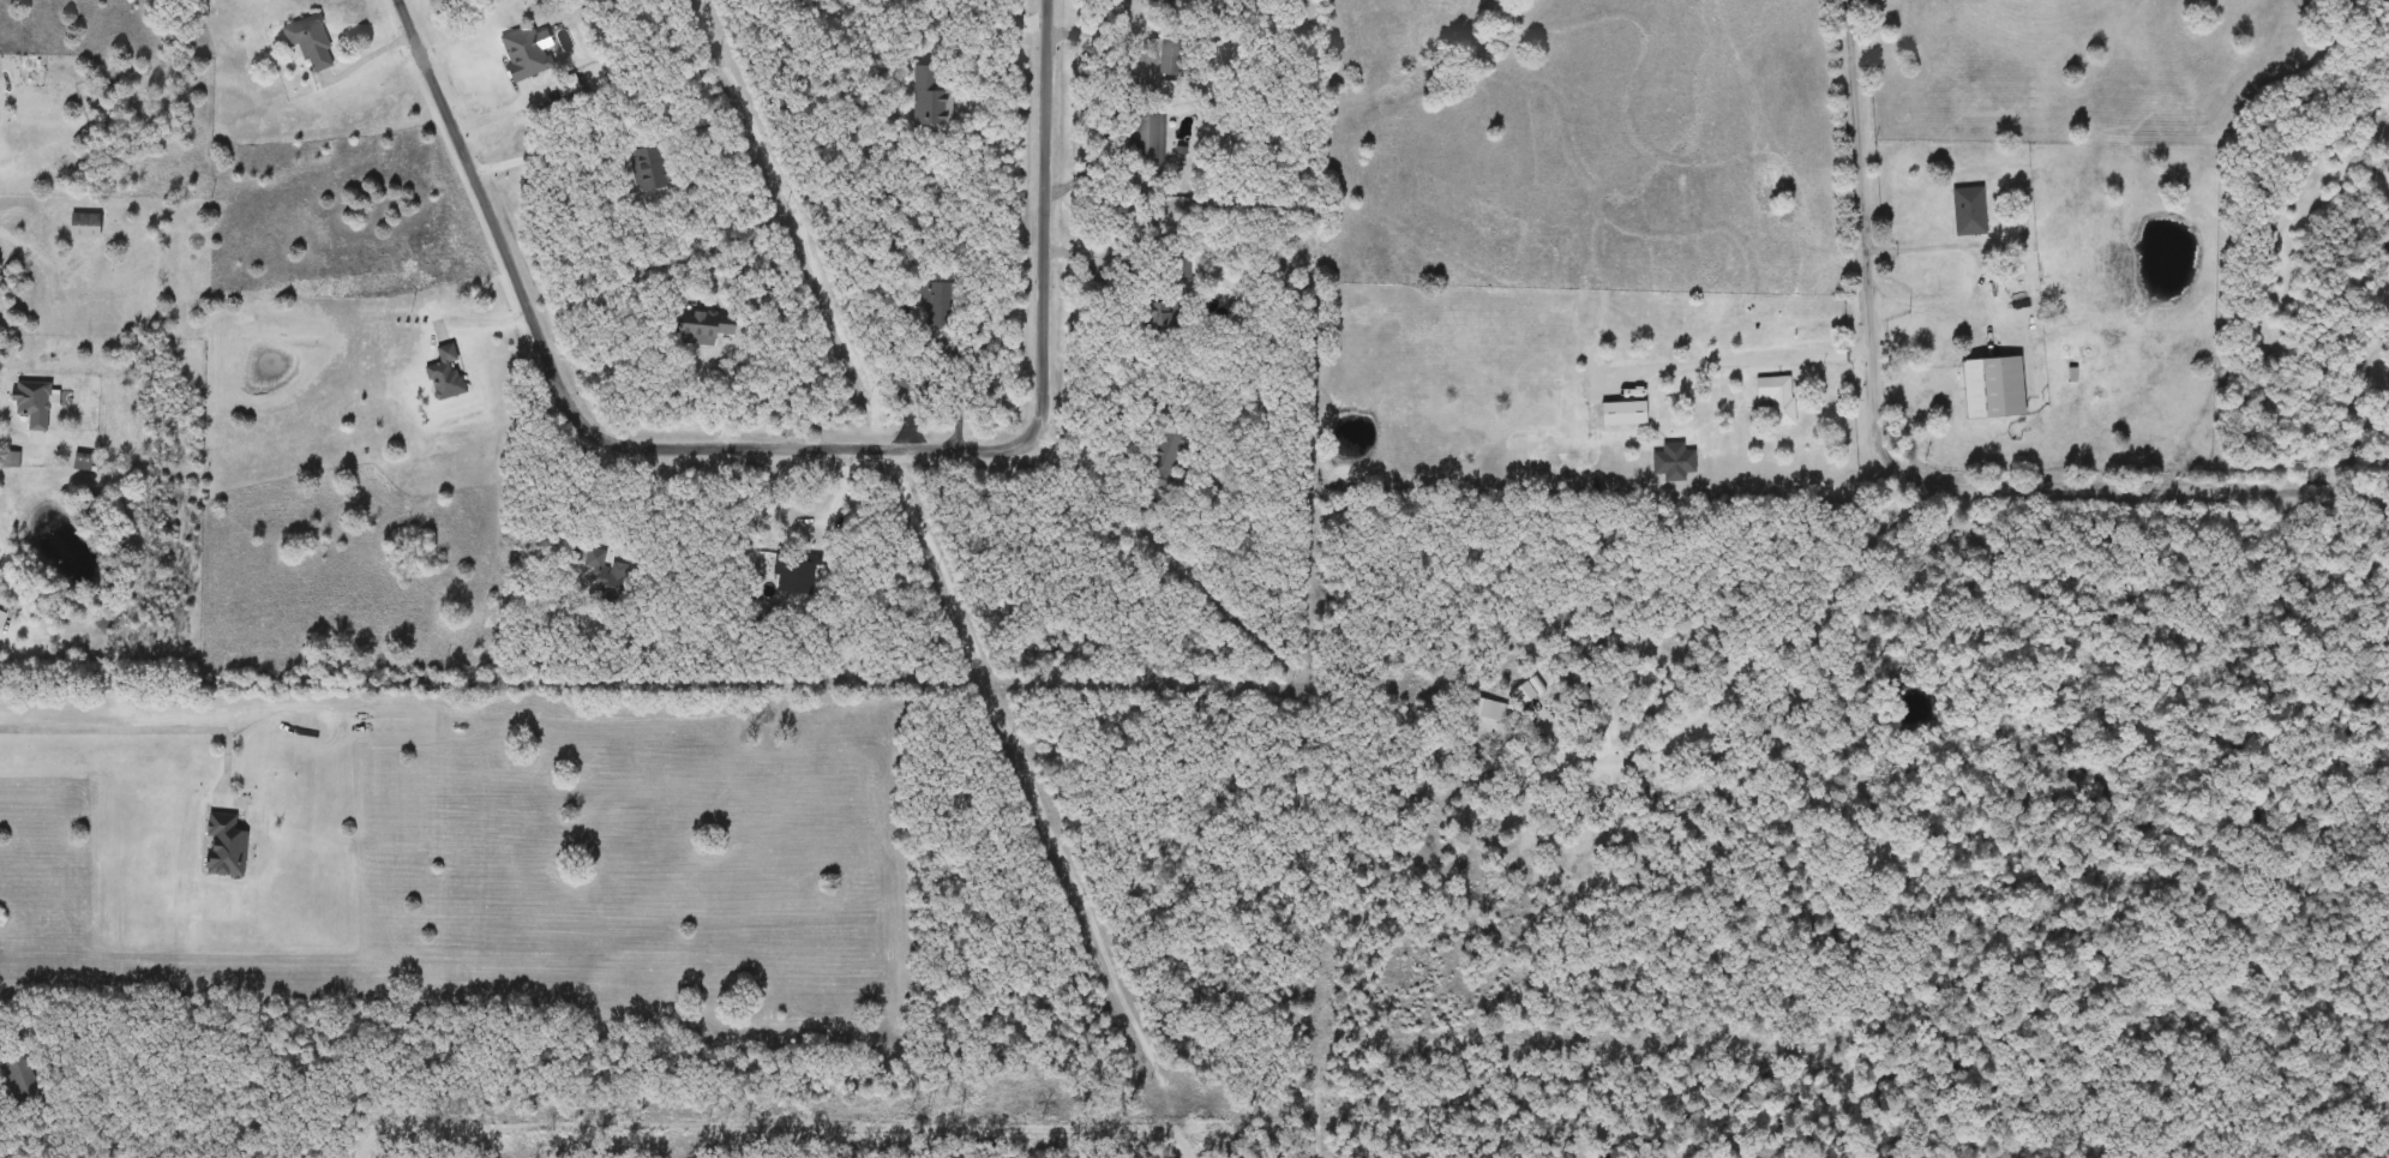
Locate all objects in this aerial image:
road: (1096, 29)
building: (311, 43)
building: (524, 53)
building: (1166, 56)
building: (930, 100)
building: (1146, 137)
road: (556, 163)
building: (648, 168)
building: (1969, 212)
building: (84, 227)
road: (42, 256)
building: (1180, 264)
road: (1091, 265)
road: (1987, 272)
building: (940, 299)
building: (770, 304)
building: (1160, 314)
road: (491, 317)
building: (703, 329)
road: (1742, 358)
building: (446, 374)
building: (1991, 388)
road: (731, 398)
road: (958, 400)
building: (1781, 401)
building: (34, 407)
building: (1622, 413)
road: (8, 437)
building: (1168, 442)
road: (793, 444)
road: (1085, 457)
building: (1671, 462)
road: (1907, 470)
road: (842, 484)
road: (577, 485)
building: (602, 568)
building: (794, 576)
road: (1771, 654)
road: (140, 728)
building: (227, 848)
building: (19, 1075)

